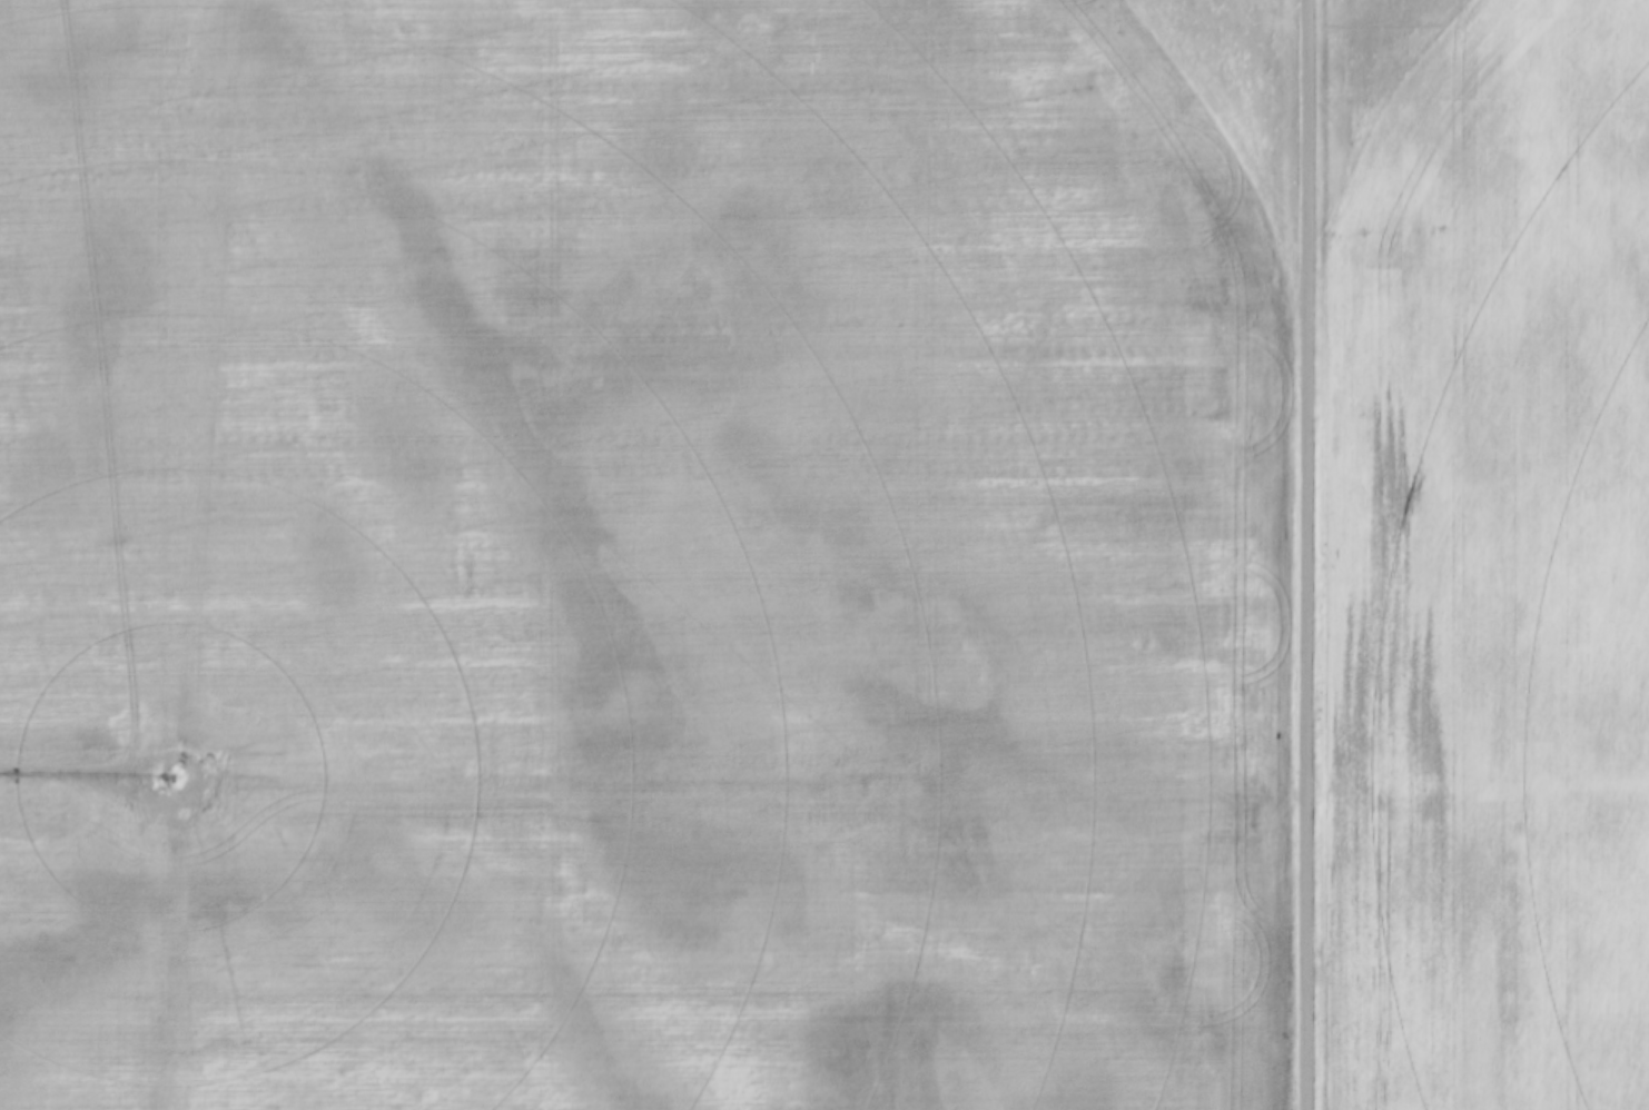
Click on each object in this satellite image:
road: (1307, 555)

